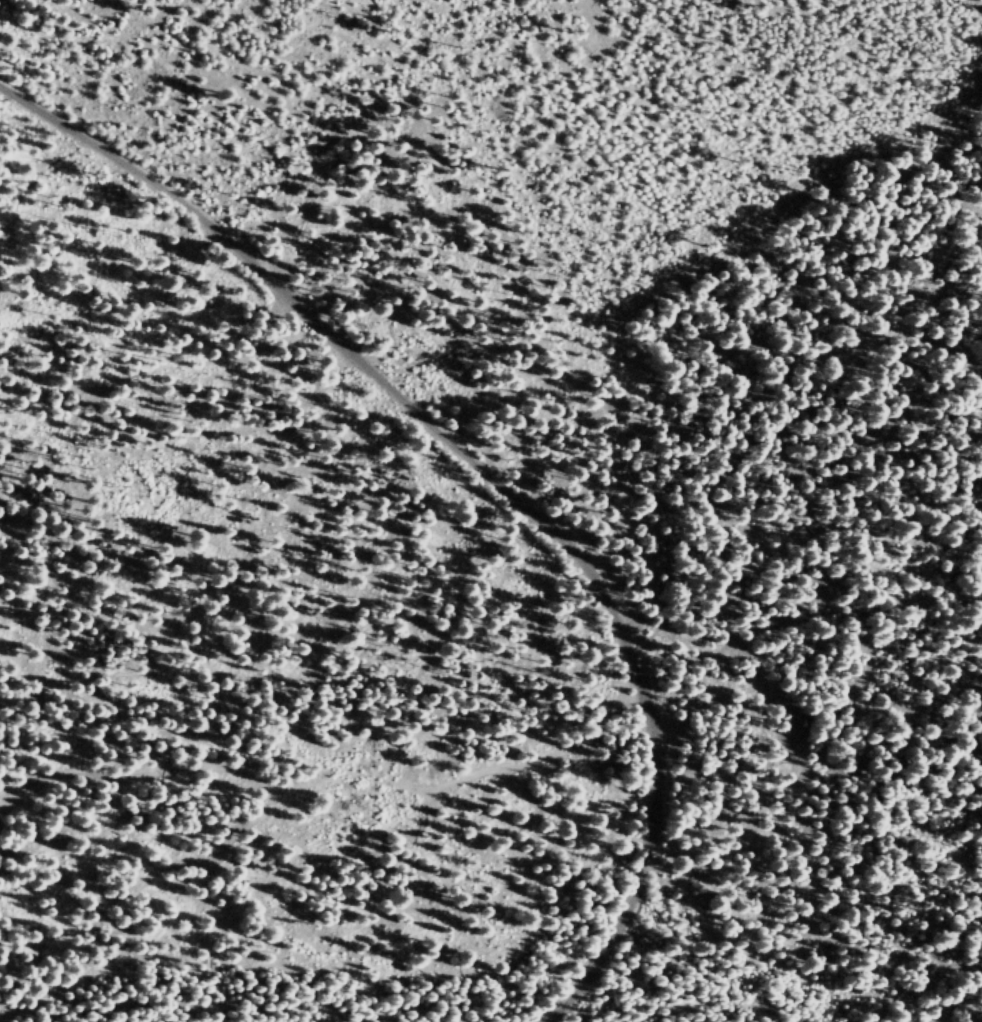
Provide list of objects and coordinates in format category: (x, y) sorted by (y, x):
road: (457, 403)
road: (601, 968)

